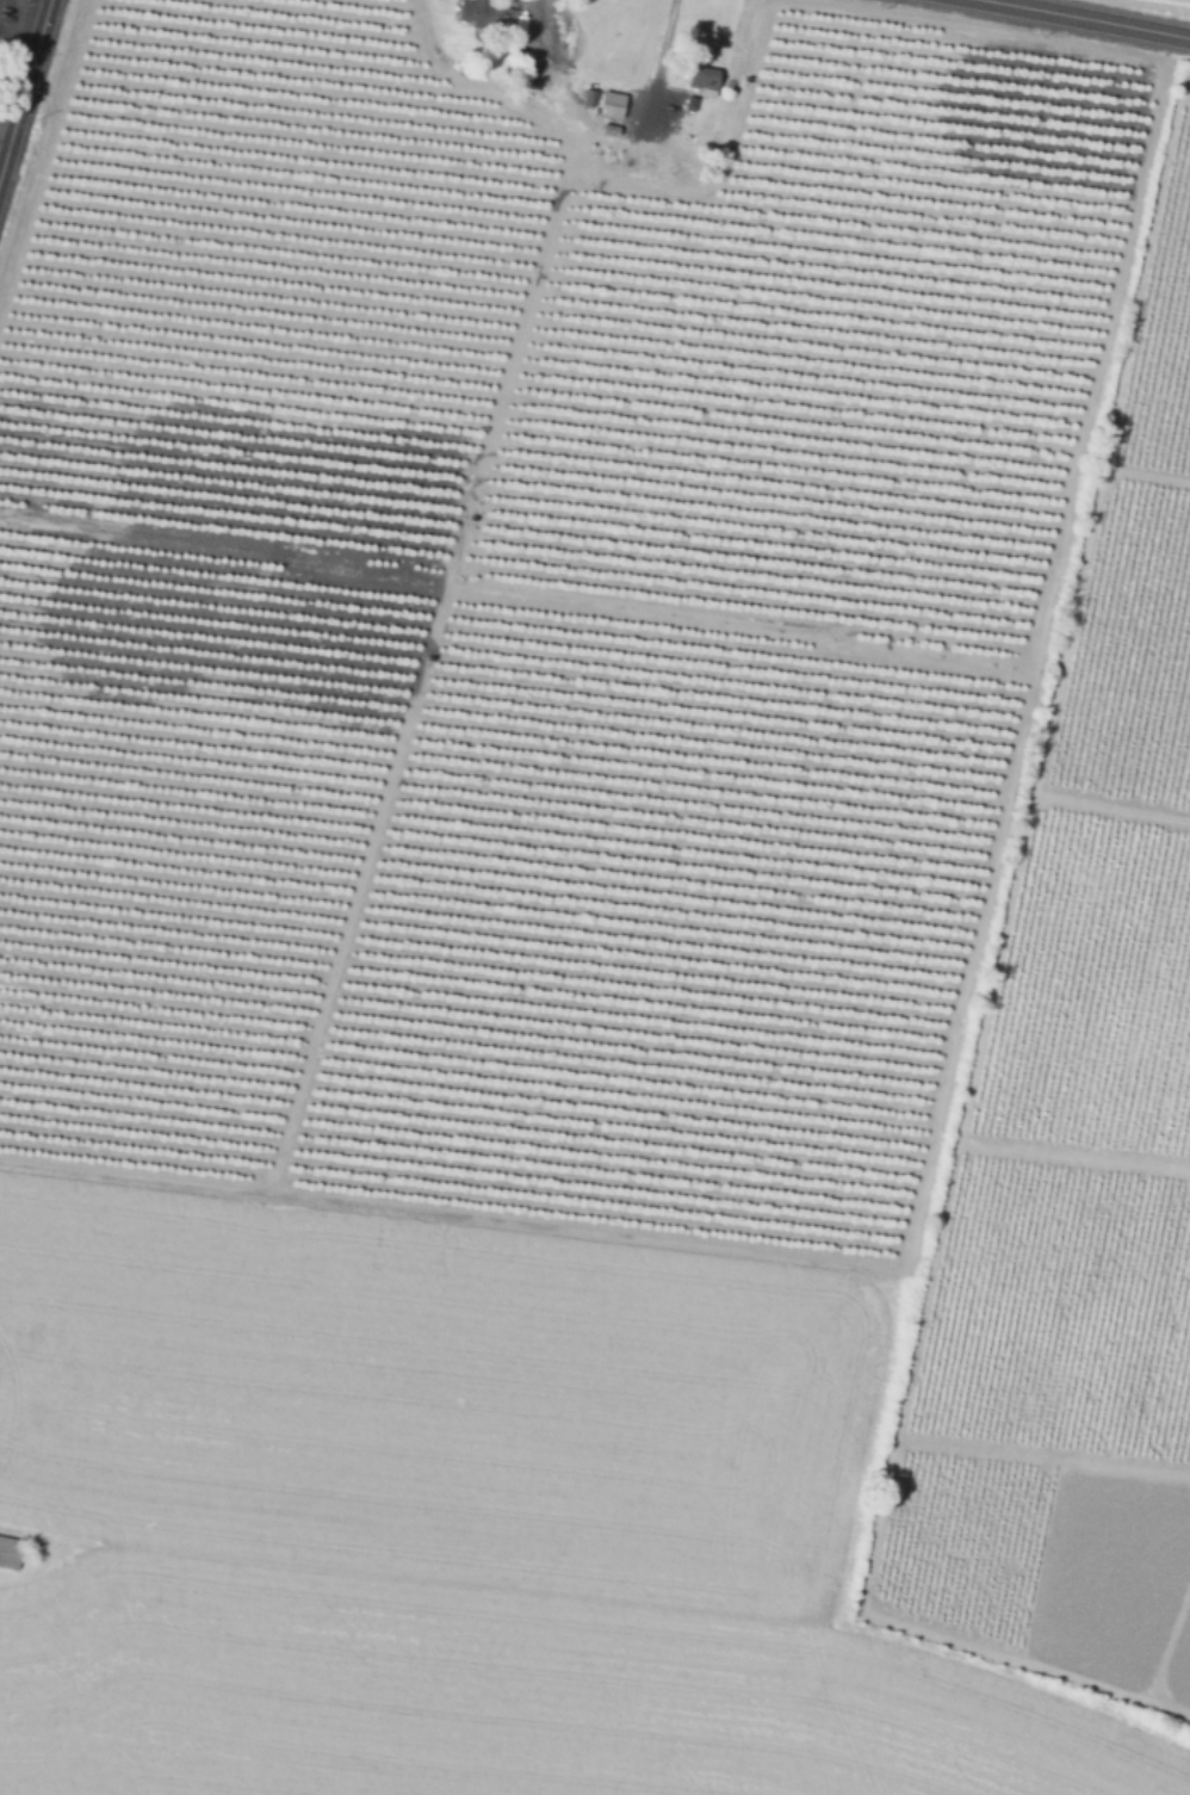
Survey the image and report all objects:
road: (991, 2)
crop: (1158, 6)
road: (21, 14)
building: (484, 18)
road: (1077, 20)
road: (550, 33)
crop: (6, 60)
road: (653, 64)
building: (701, 83)
road: (24, 85)
building: (588, 101)
building: (609, 107)
building: (608, 134)
crop: (225, 530)
crop: (748, 655)
road: (1054, 667)
road: (393, 754)
crop: (432, 1400)
building: (10, 1550)
crop: (510, 1697)

